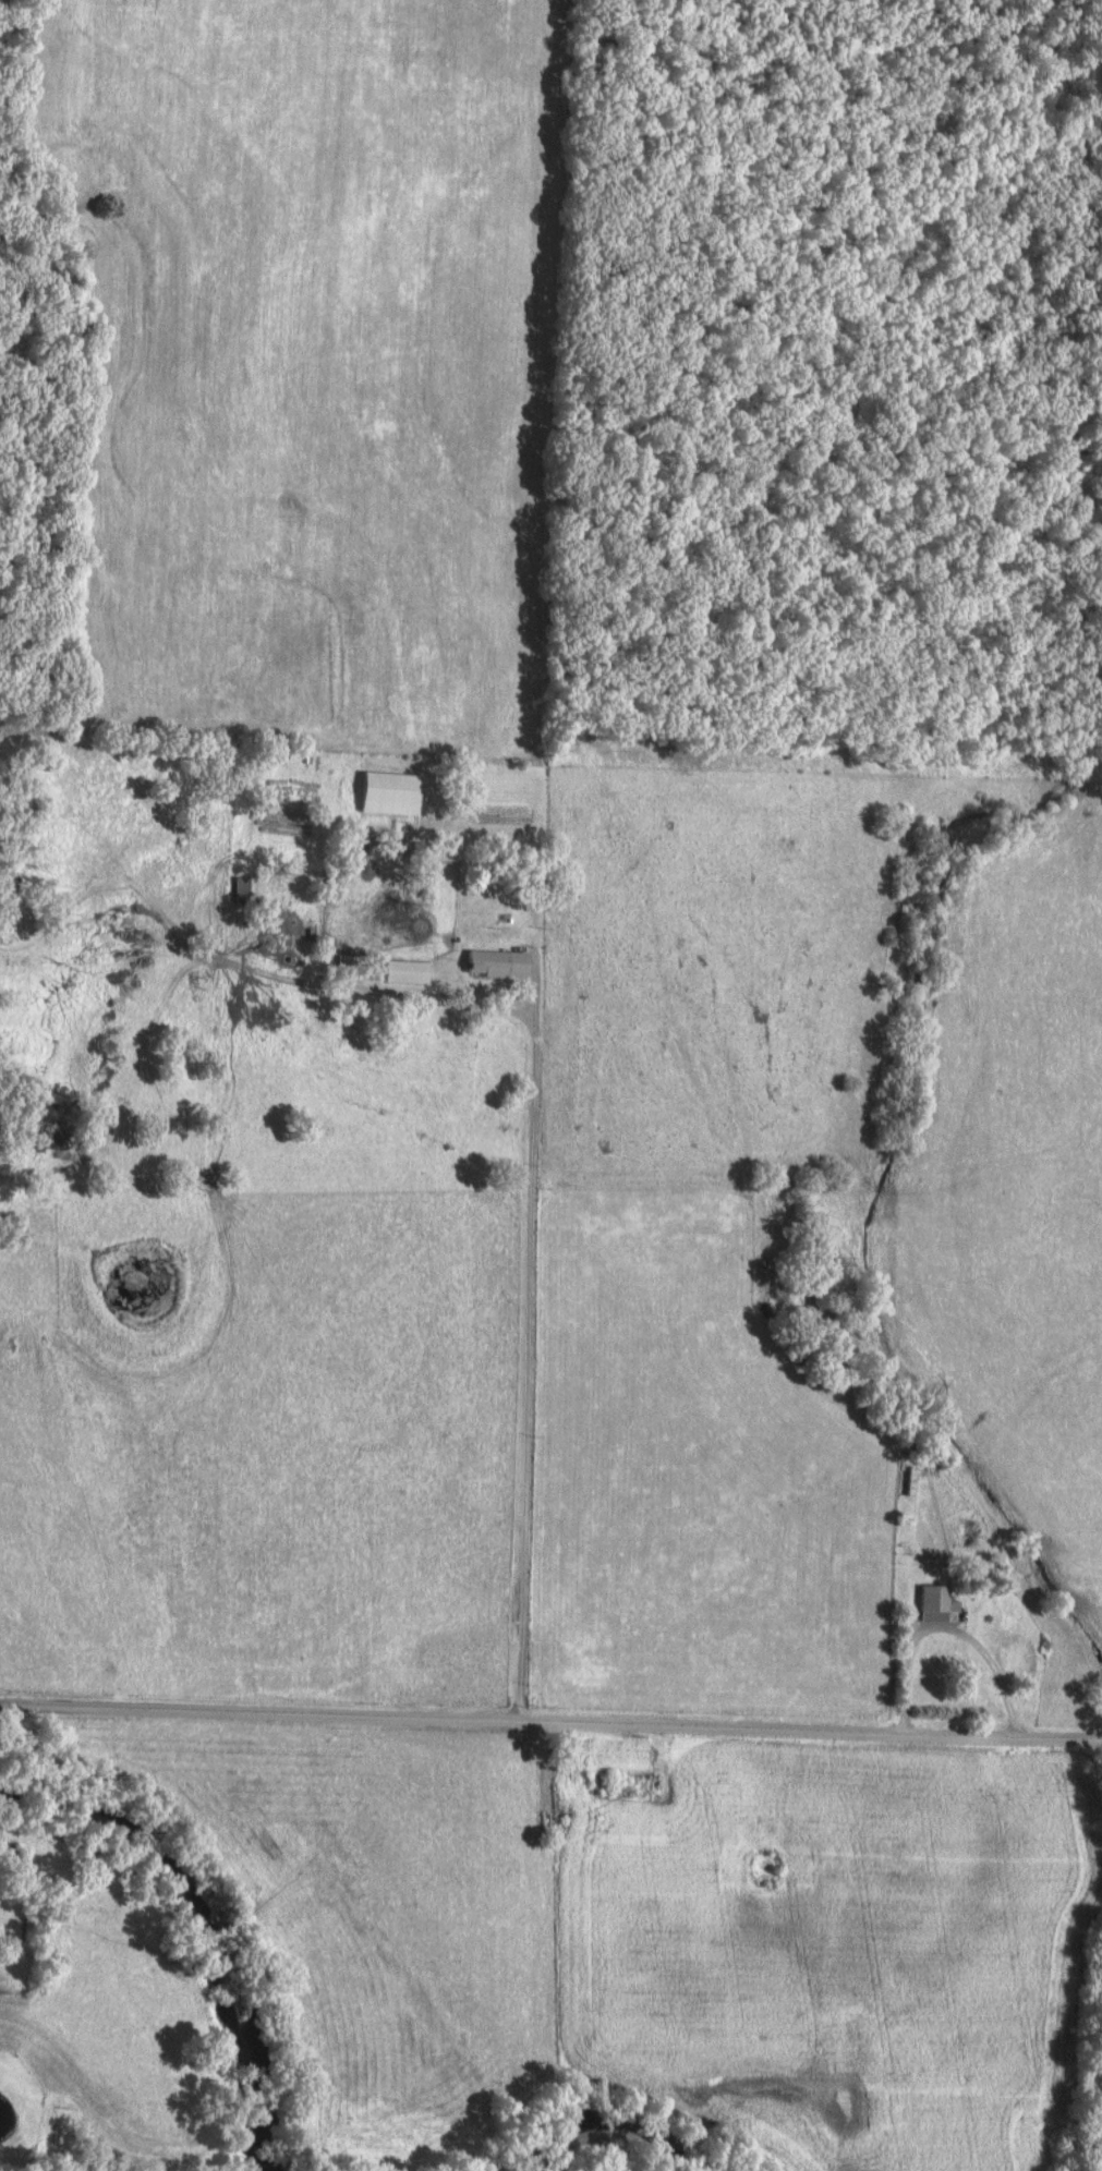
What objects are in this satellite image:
building: (392, 790)
building: (242, 887)
building: (383, 911)
road: (491, 943)
building: (499, 960)
building: (407, 970)
road: (526, 1368)
building: (937, 1598)
building: (985, 1632)
road: (905, 1655)
road: (550, 1721)
building: (596, 1779)

